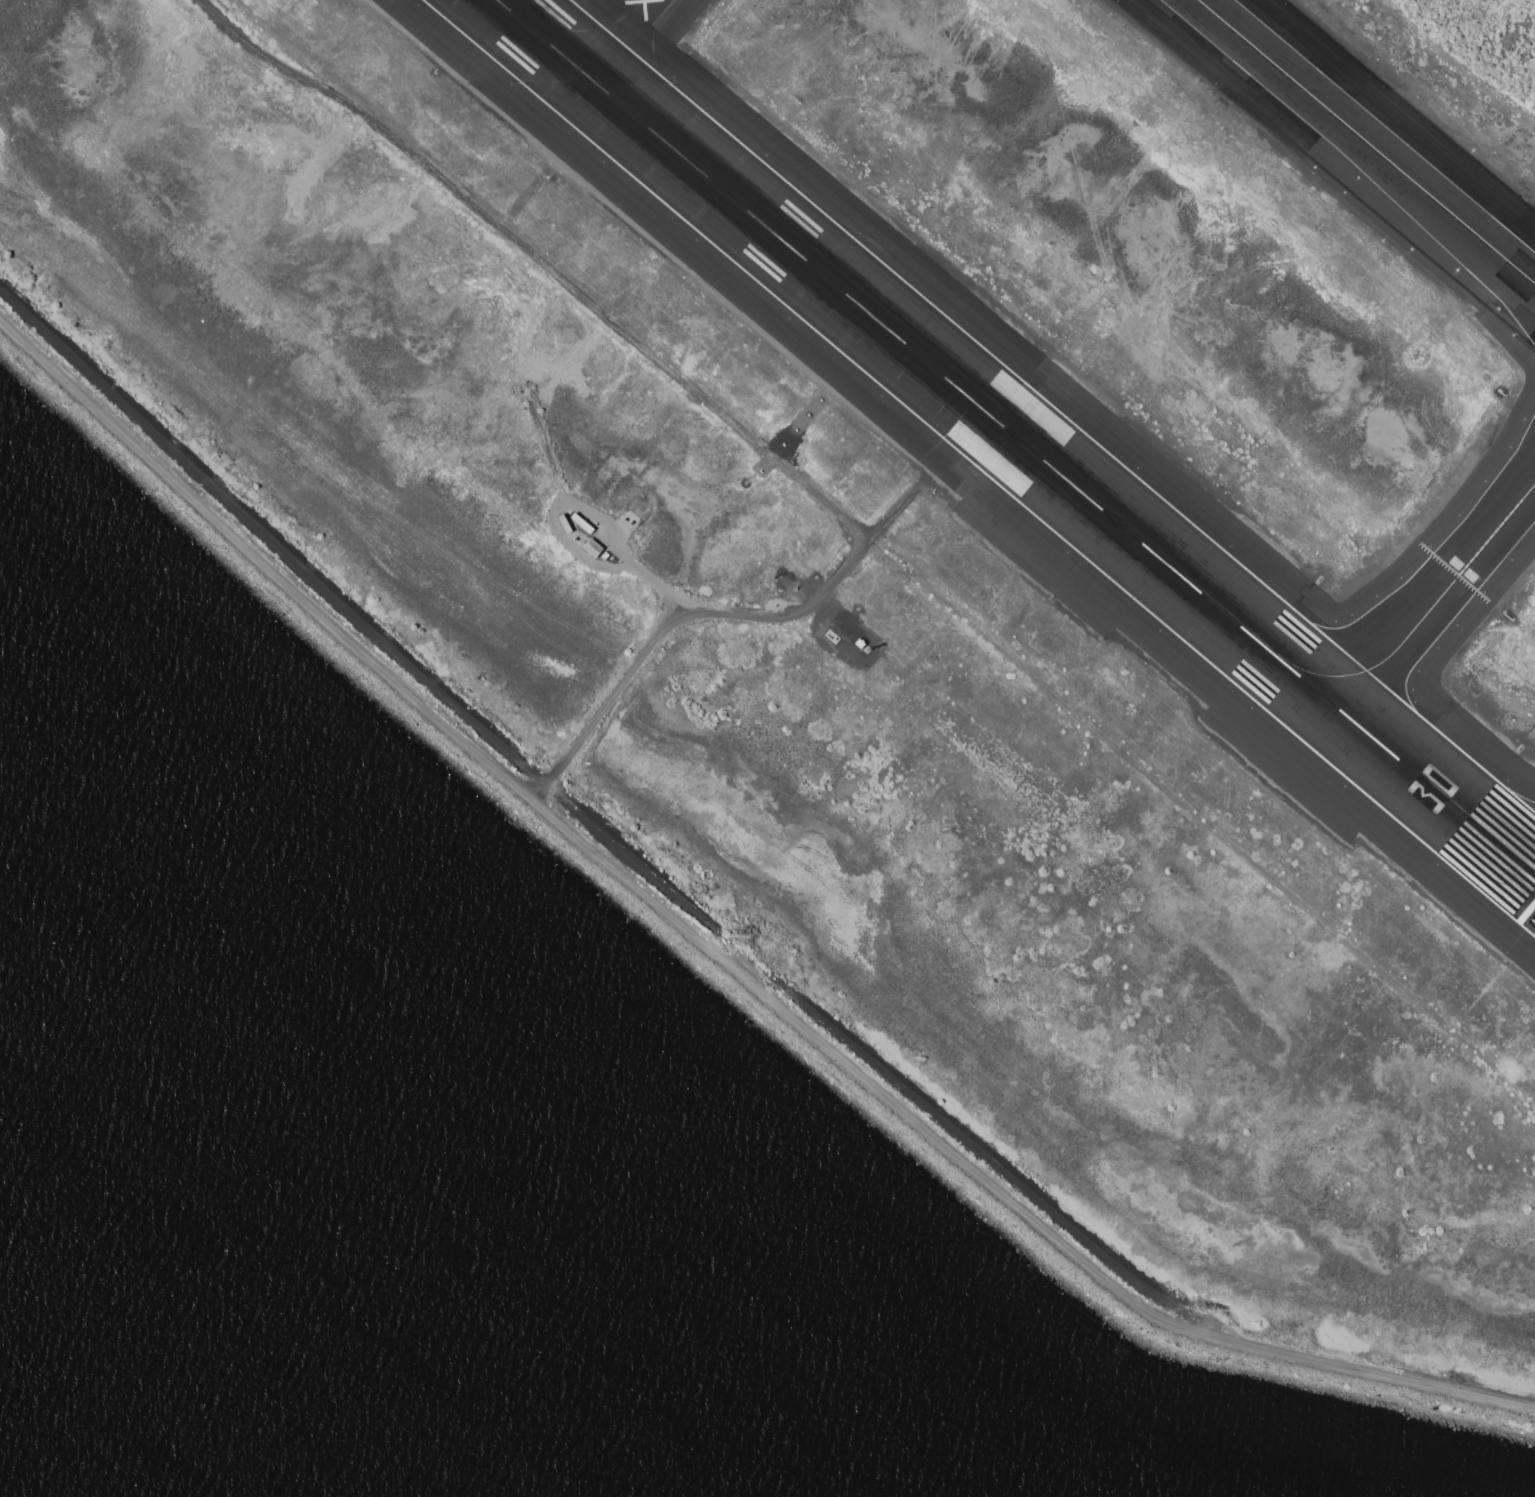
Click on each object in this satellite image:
airport taxiway: (1366, 142)
airport runway: (1015, 437)
airport: (922, 556)
airport taxiway: (1427, 613)
airport taxiway: (1531, 870)

